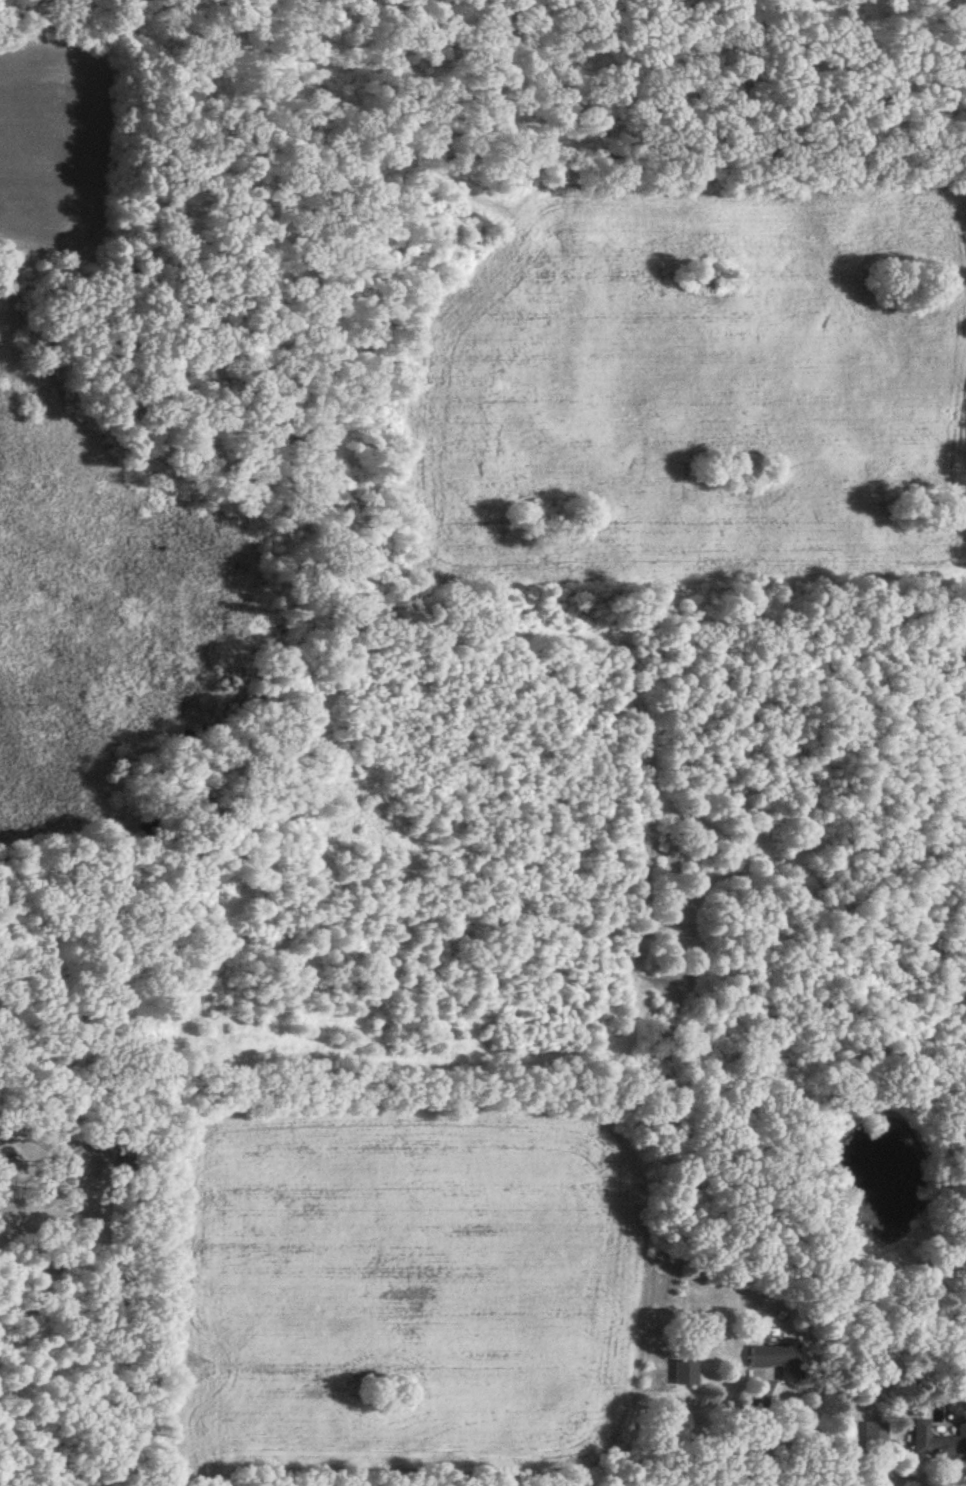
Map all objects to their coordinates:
crop: (694, 394)
building: (778, 1362)
building: (876, 1439)
road: (762, 1440)
building: (938, 1444)

